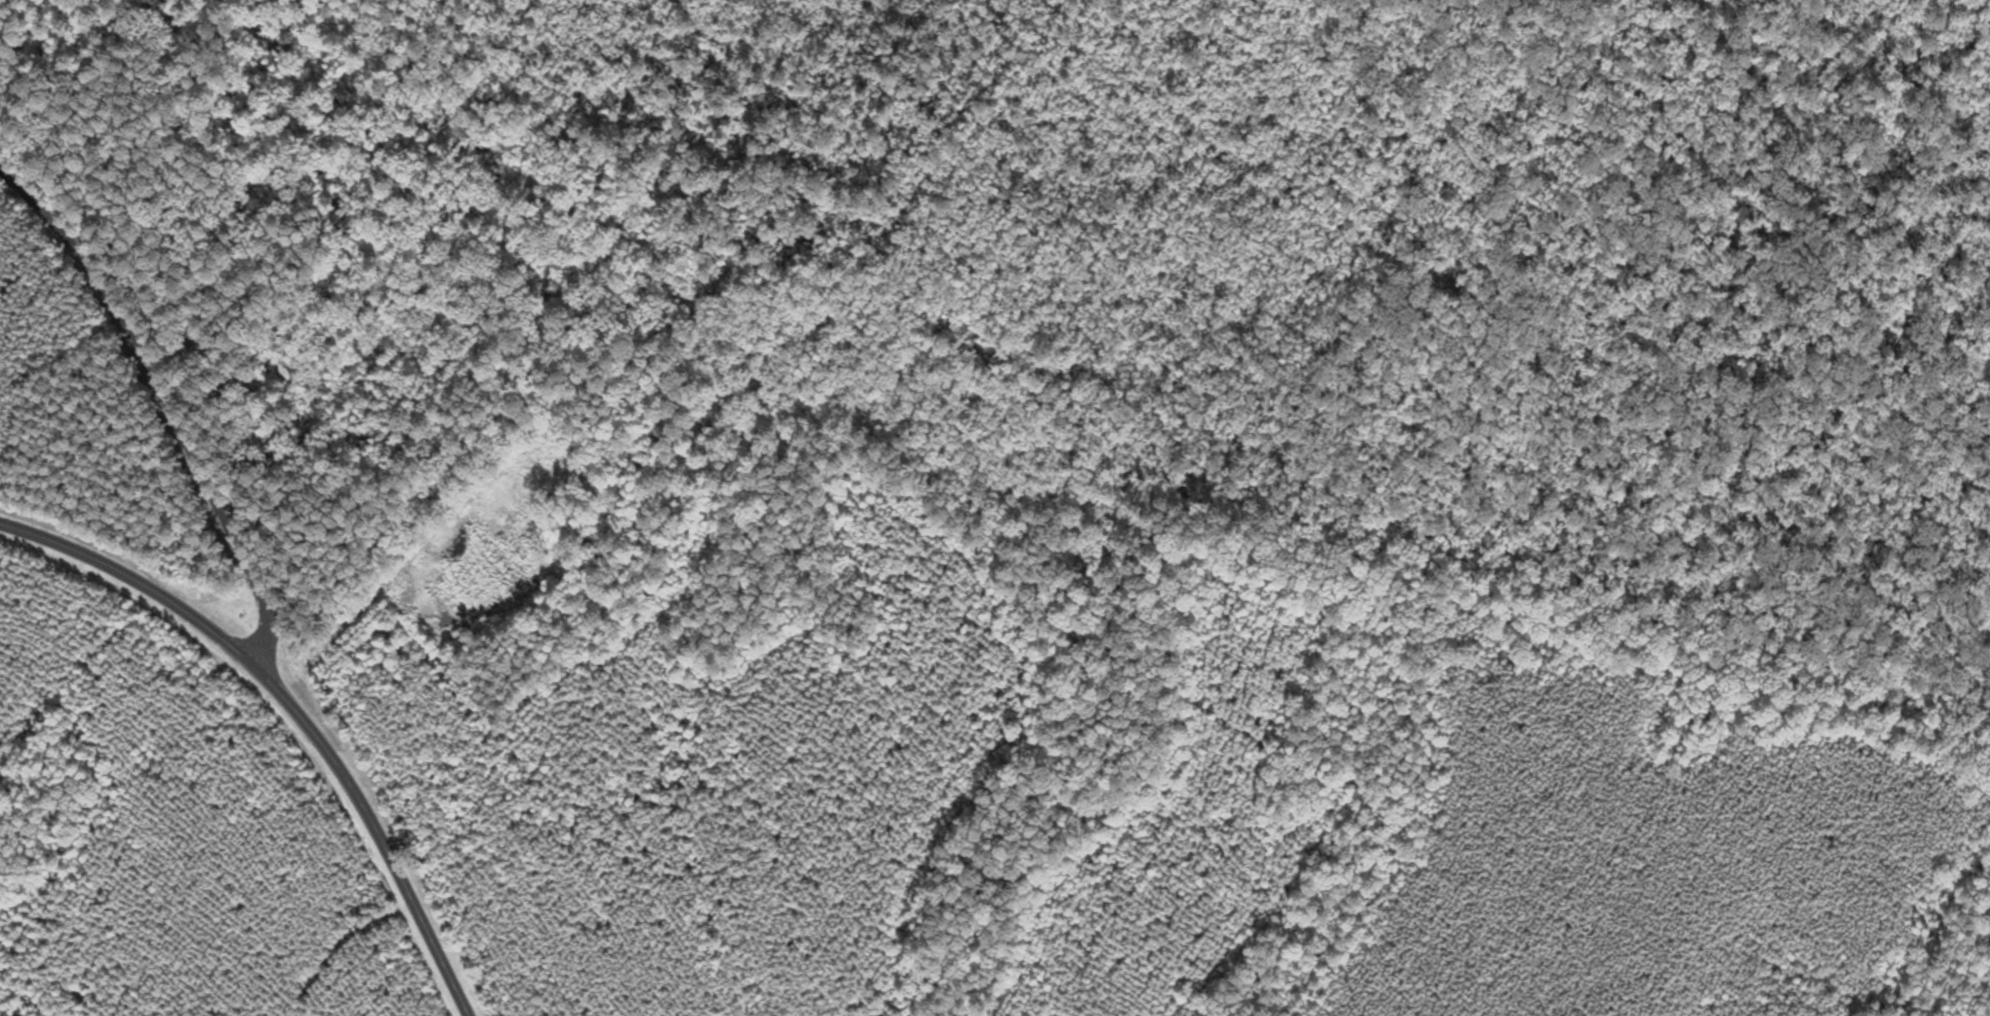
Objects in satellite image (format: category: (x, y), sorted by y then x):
road: (166, 401)
road: (293, 709)

